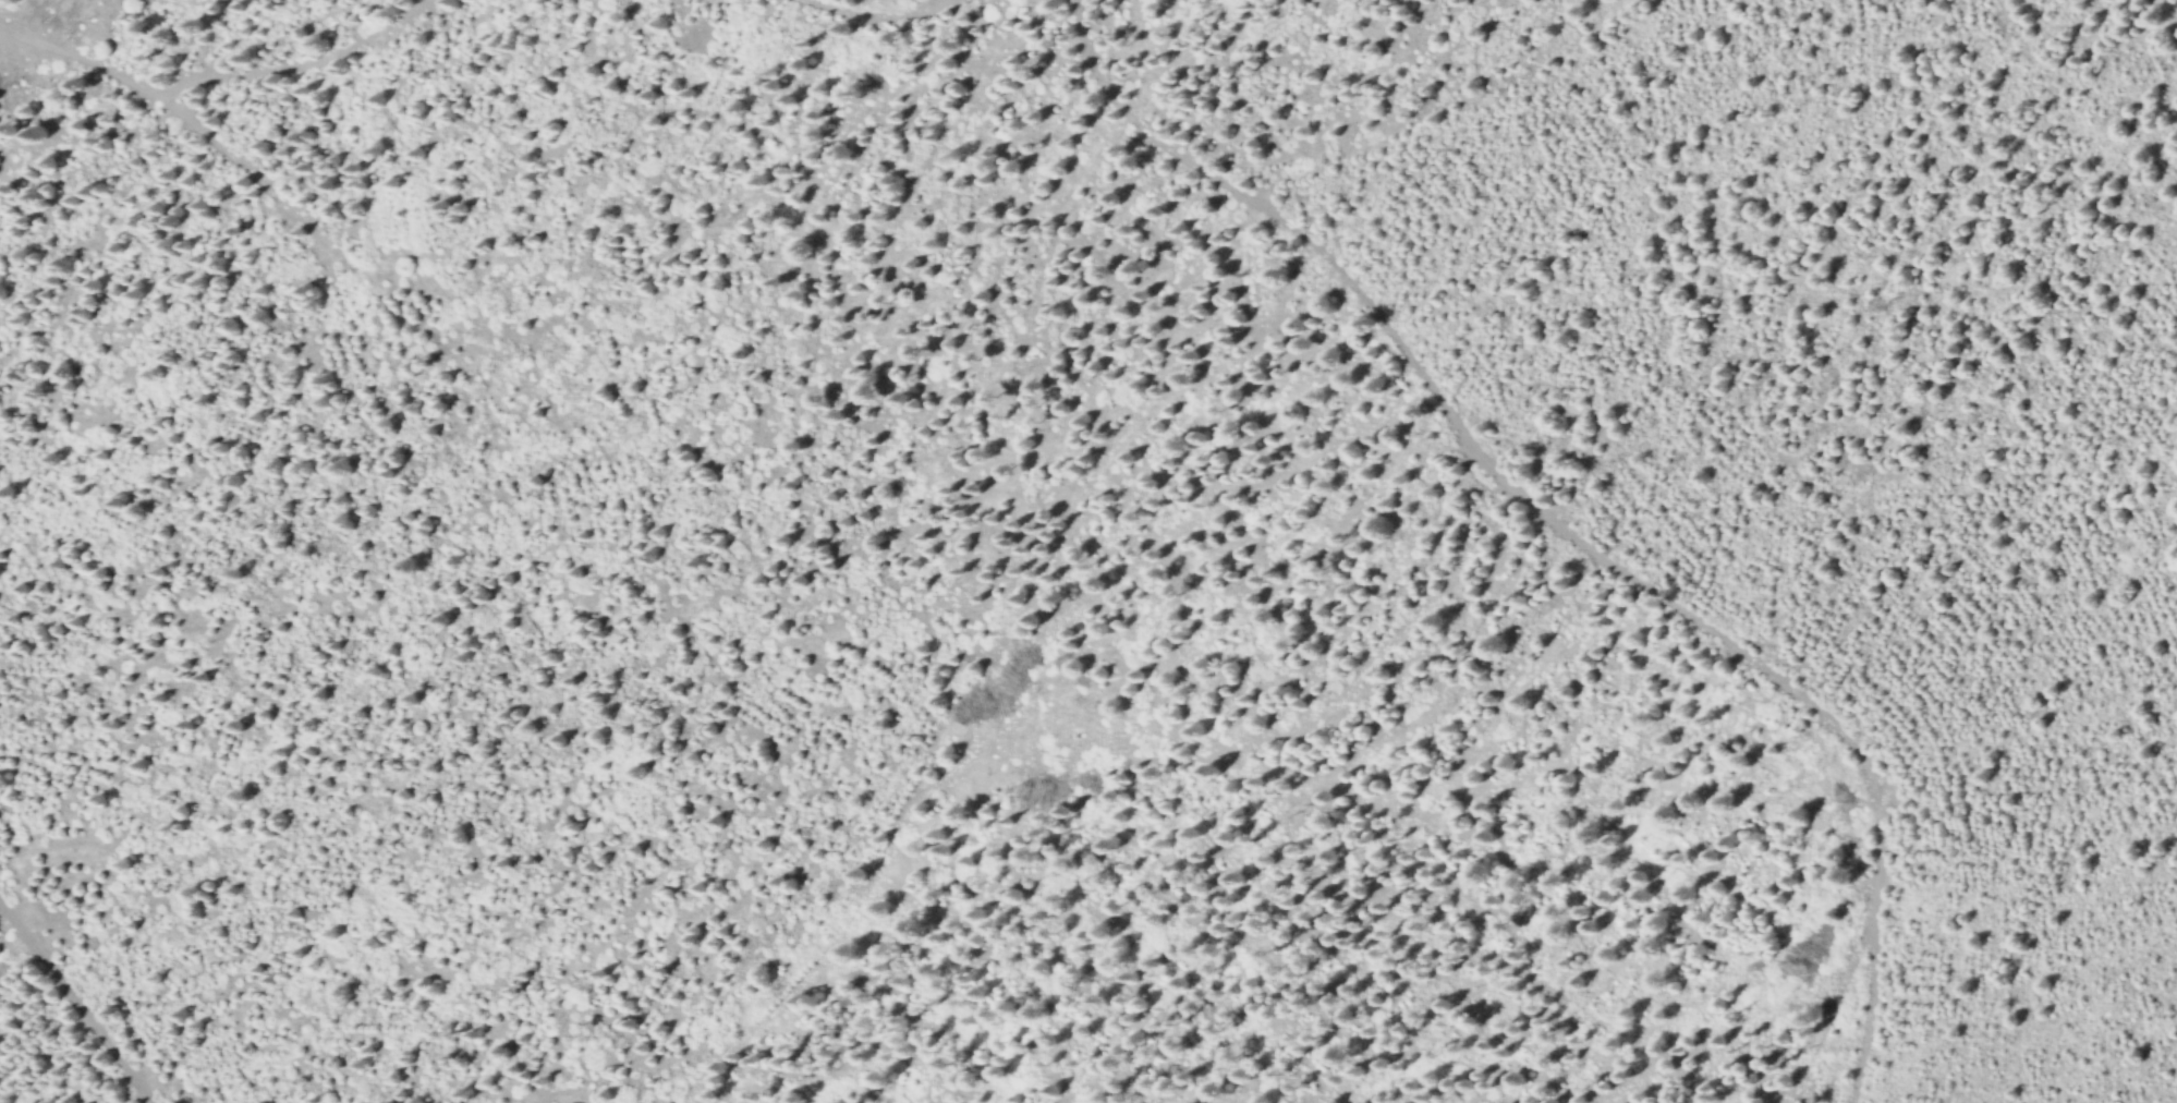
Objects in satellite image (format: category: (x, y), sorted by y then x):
road: (17, 5)
road: (880, 16)
road: (287, 66)
road: (186, 121)
road: (1565, 528)
road: (78, 1002)

